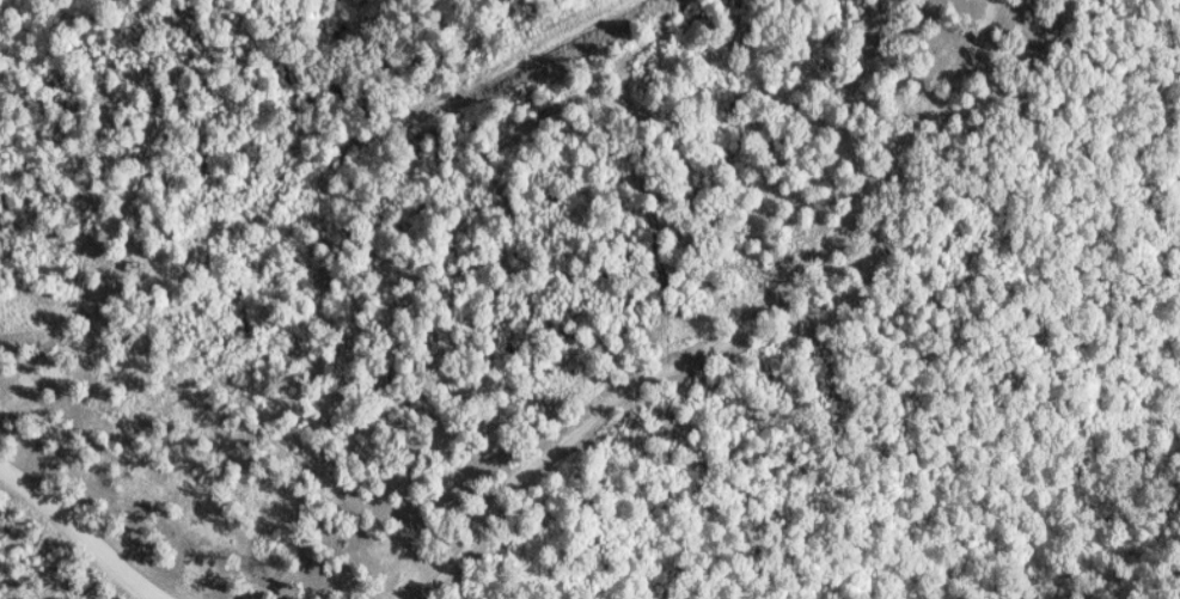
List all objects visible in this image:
road: (707, 356)
road: (79, 532)

